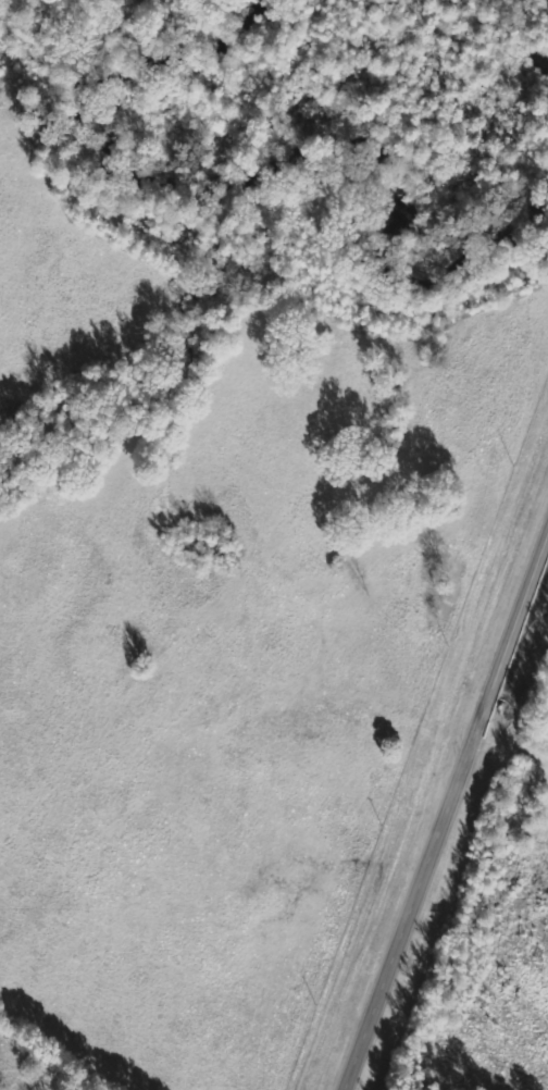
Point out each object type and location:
road: (208, 813)
road: (447, 817)

